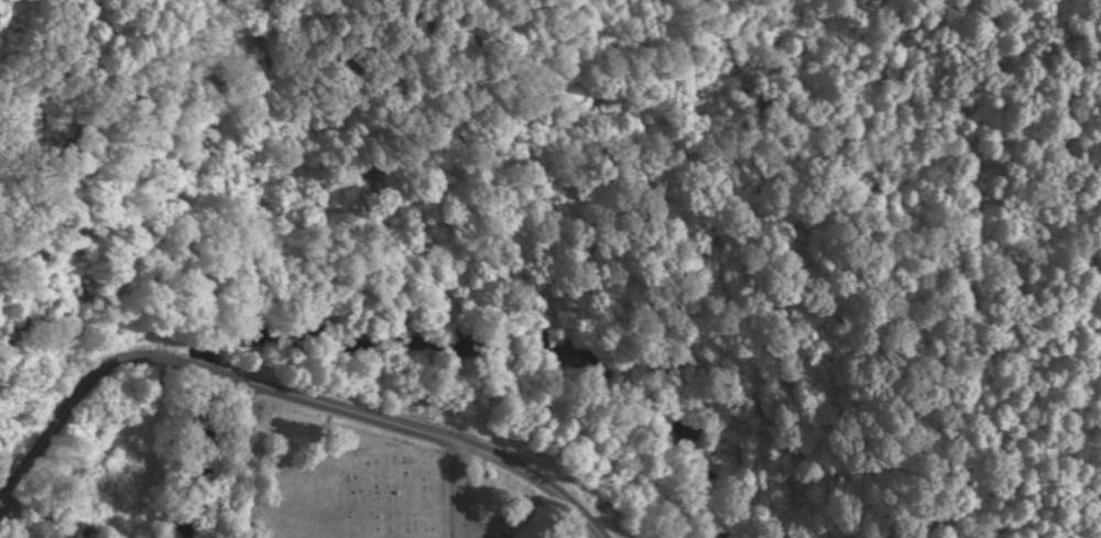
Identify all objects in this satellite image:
road: (211, 372)
road: (81, 393)
road: (425, 433)
road: (172, 450)
building: (118, 476)
road: (75, 485)
road: (456, 490)
building: (78, 531)

